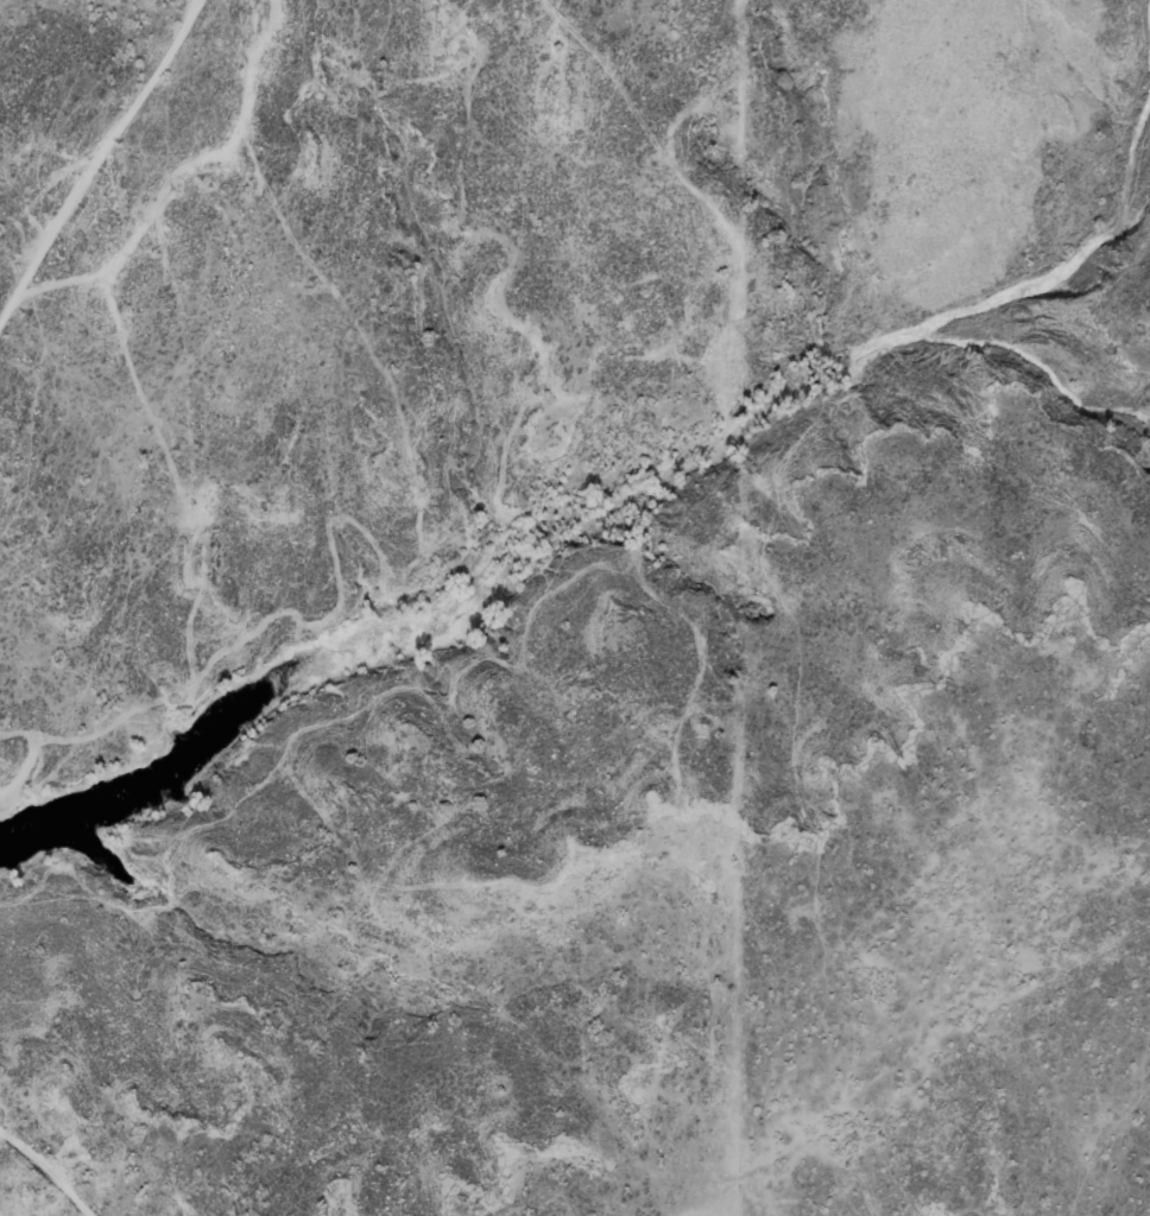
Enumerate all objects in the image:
road: (96, 161)
road: (902, 1059)
road: (48, 1168)

